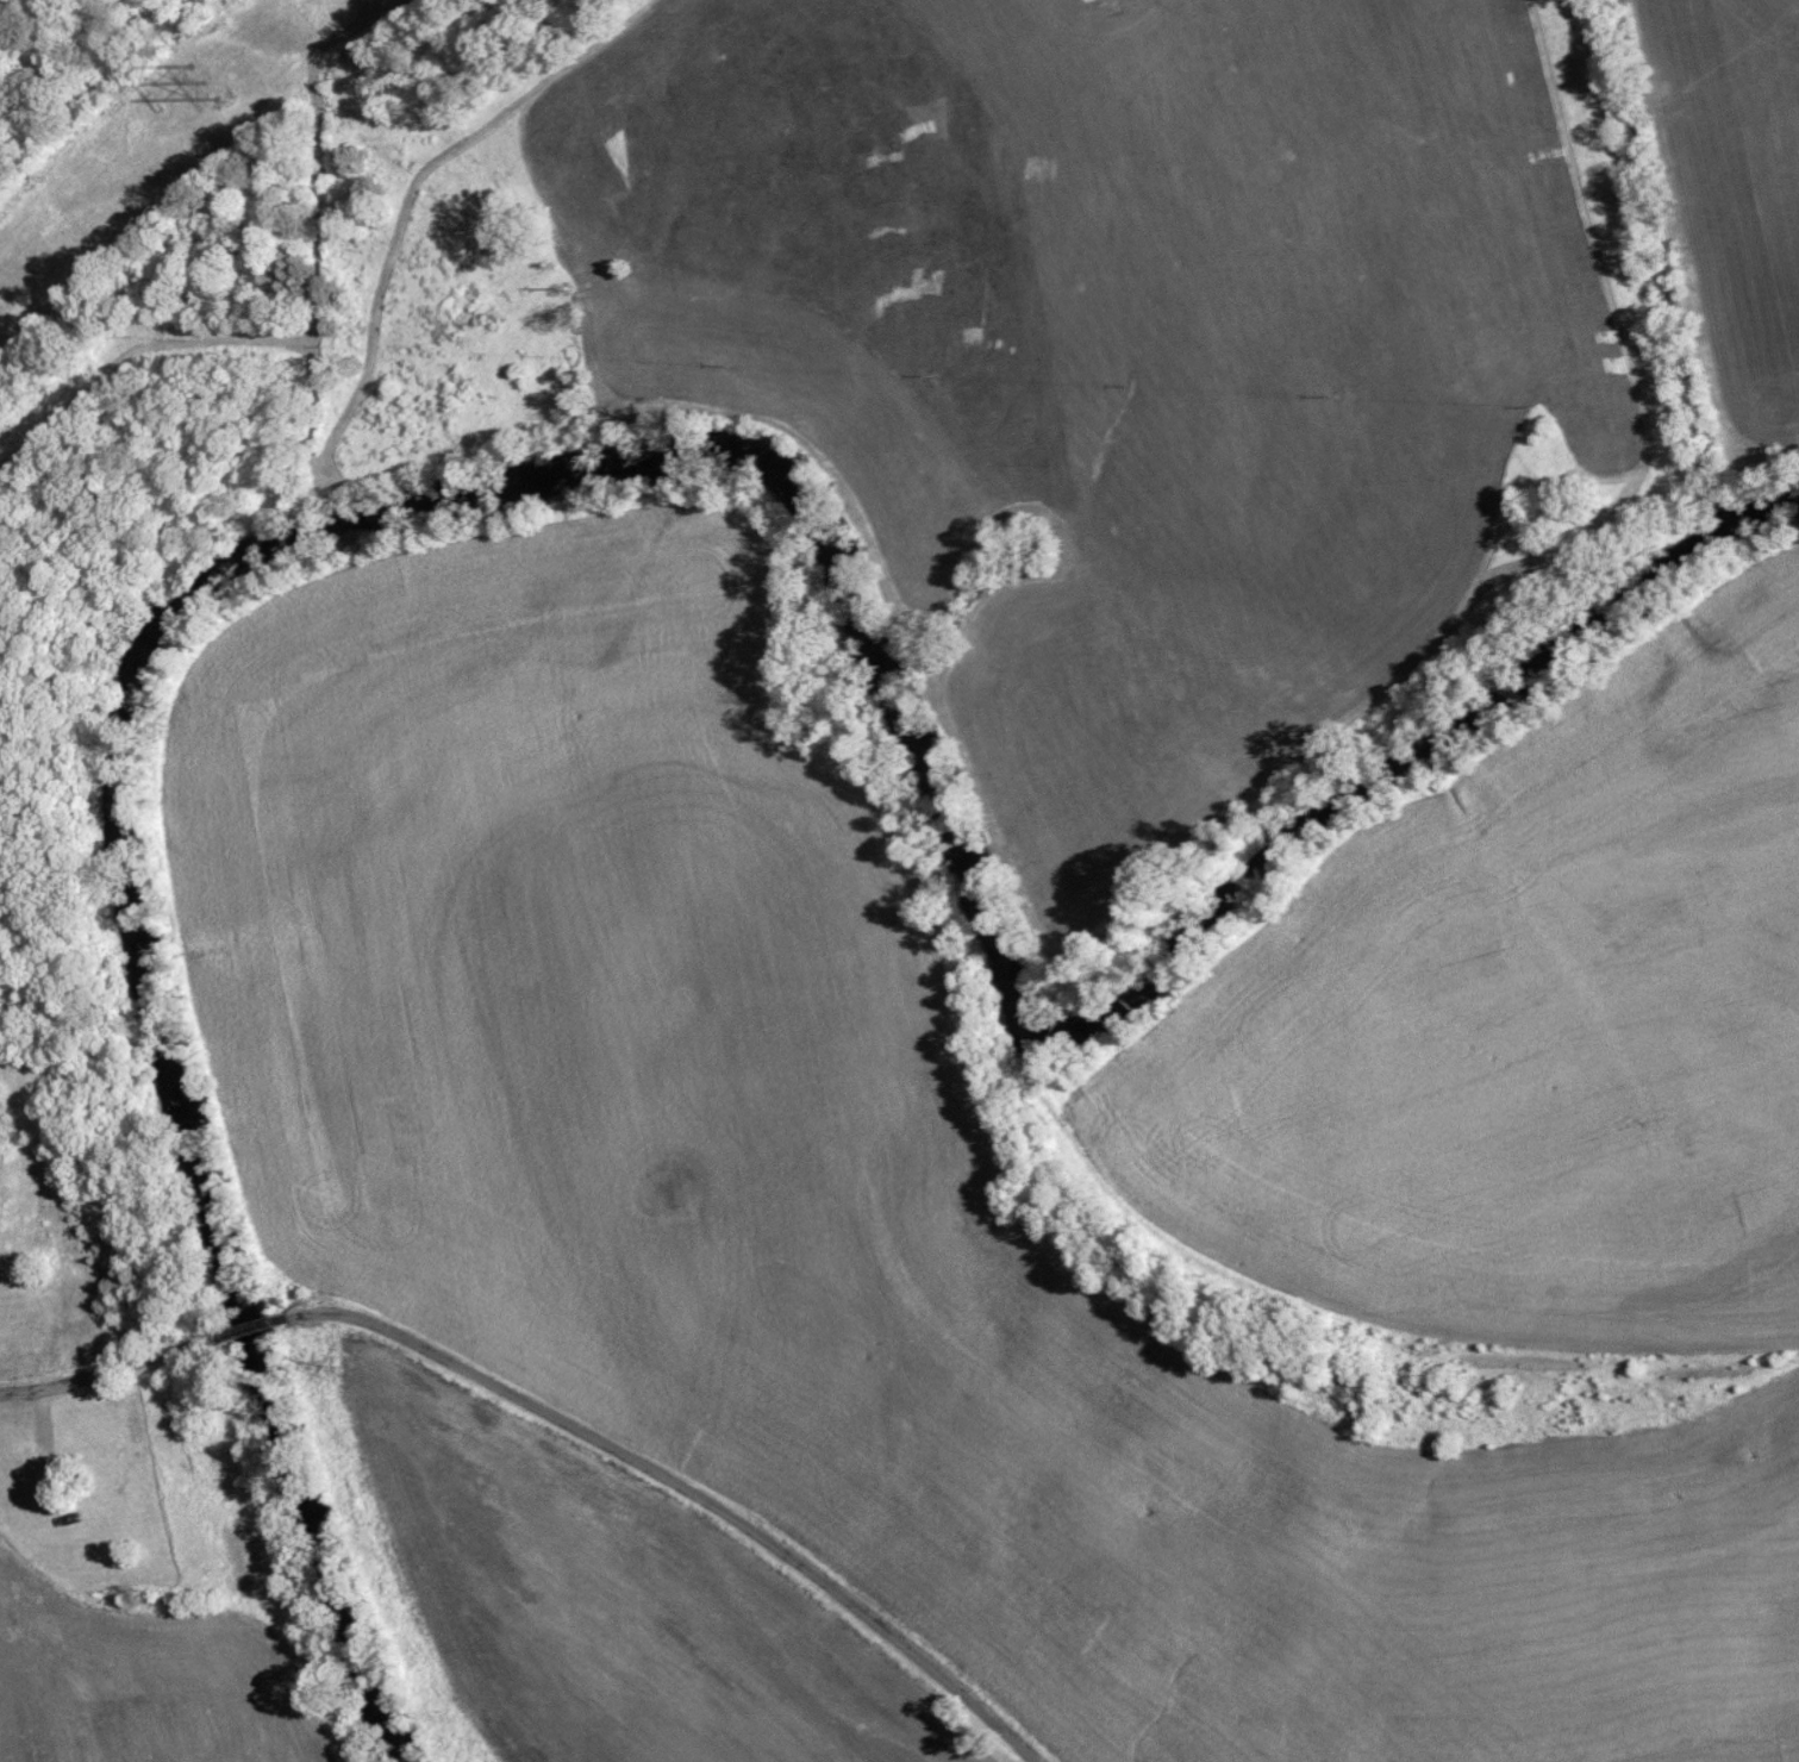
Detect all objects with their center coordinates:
power tower: (208, 85)
road: (967, 133)
river: (655, 458)
road: (252, 1329)
road: (110, 1370)
building: (40, 1460)
building: (94, 1467)
road: (686, 1489)

